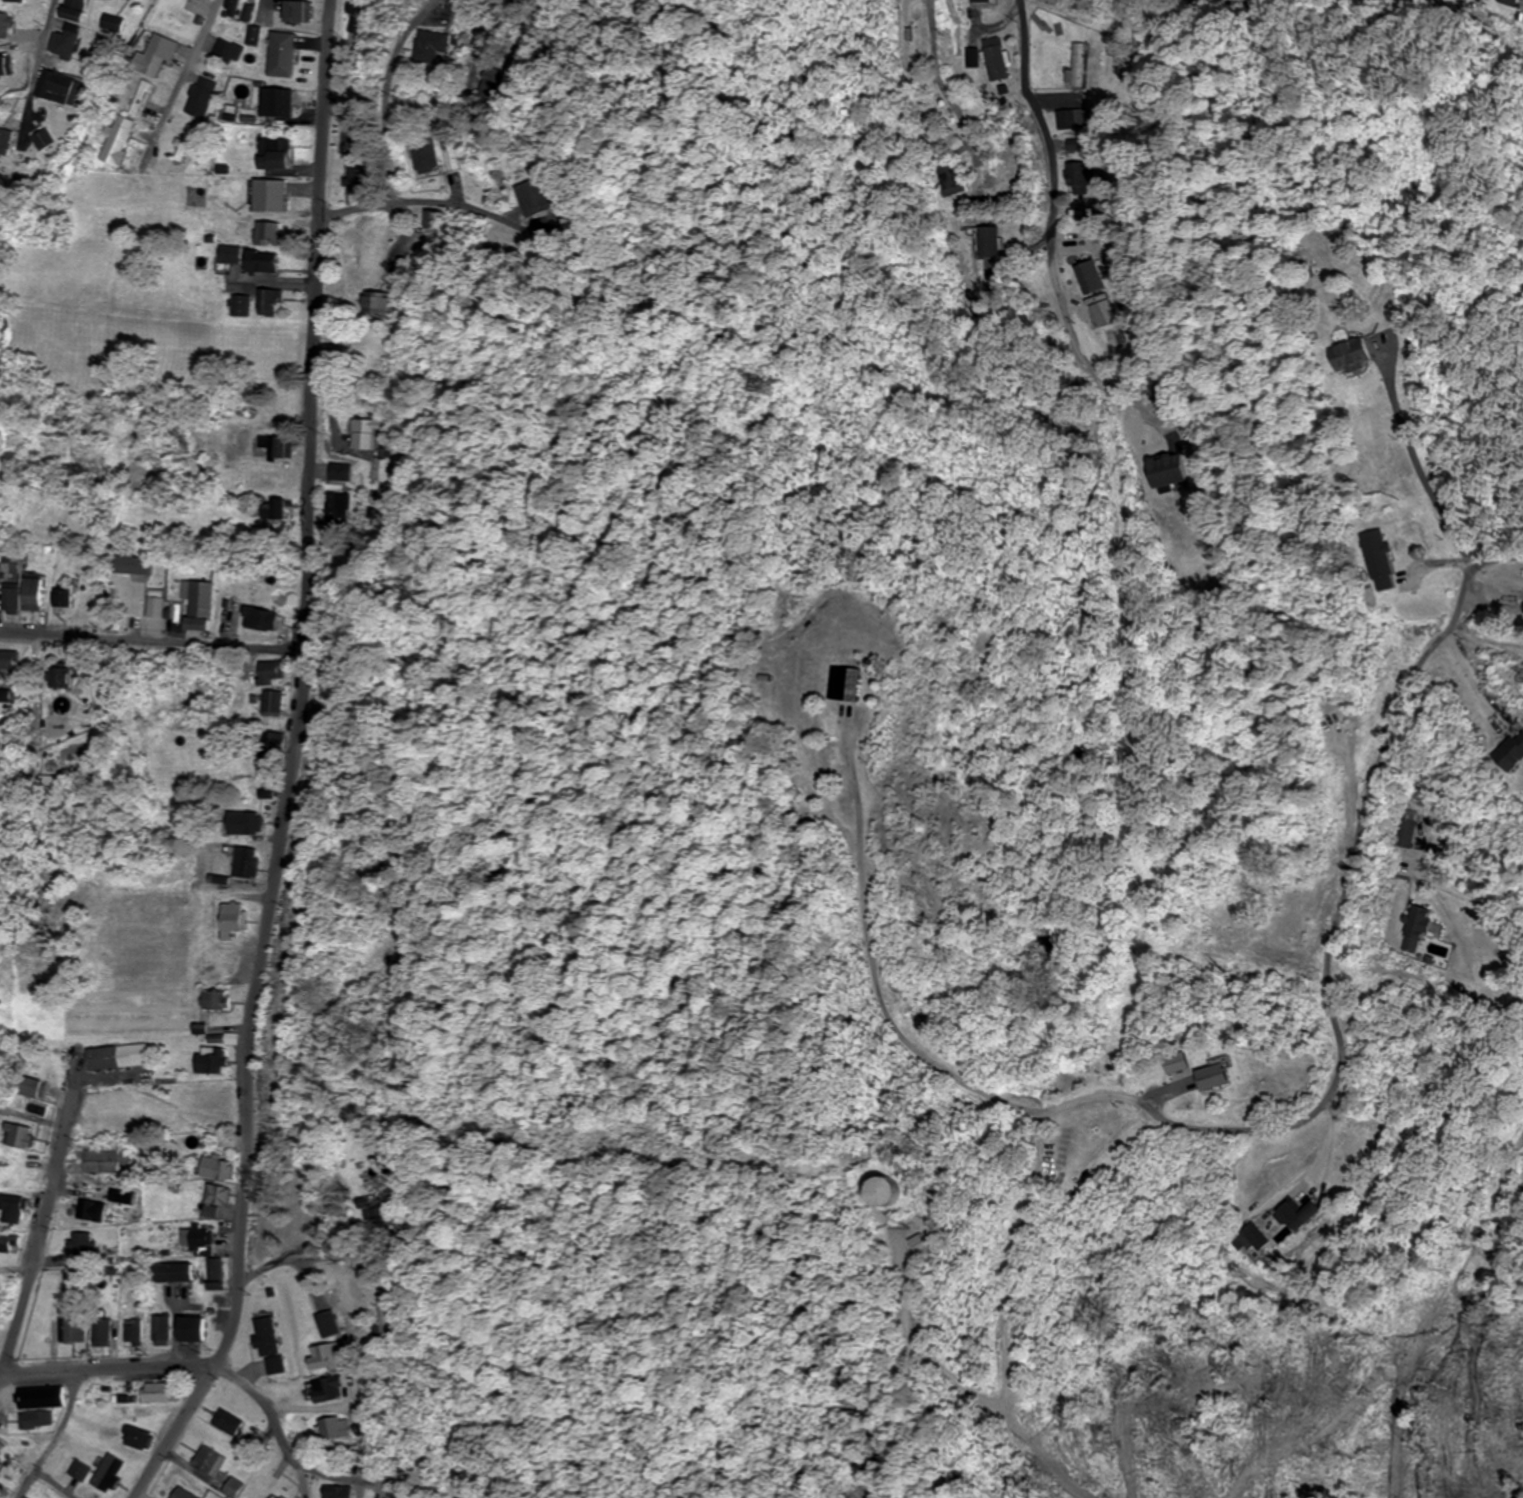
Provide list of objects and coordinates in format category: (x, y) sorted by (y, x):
road: (474, 16)
road: (57, 27)
road: (932, 32)
road: (182, 84)
road: (387, 95)
road: (939, 96)
road: (1041, 120)
road: (424, 201)
road: (514, 299)
power tower: (773, 383)
road: (154, 641)
road: (41, 738)
road: (298, 763)
road: (1333, 939)
building: (15, 1136)
building: (5, 1210)
building: (98, 1212)
building: (4, 1242)
building: (80, 1242)
road: (37, 1246)
building: (173, 1272)
road: (264, 1274)
building: (73, 1327)
building: (189, 1329)
building: (100, 1330)
building: (132, 1330)
building: (156, 1330)
building: (267, 1342)
road: (109, 1369)
building: (327, 1388)
building: (156, 1392)
building: (40, 1397)
road: (264, 1399)
building: (137, 1411)
building: (35, 1420)
building: (228, 1421)
building: (334, 1428)
road: (54, 1434)
building: (136, 1437)
building: (19, 1442)
building: (208, 1460)
building: (0, 1463)
building: (79, 1470)
building: (107, 1473)
building: (232, 1487)
building: (337, 1491)
building: (181, 1493)
building: (272, 1496)

